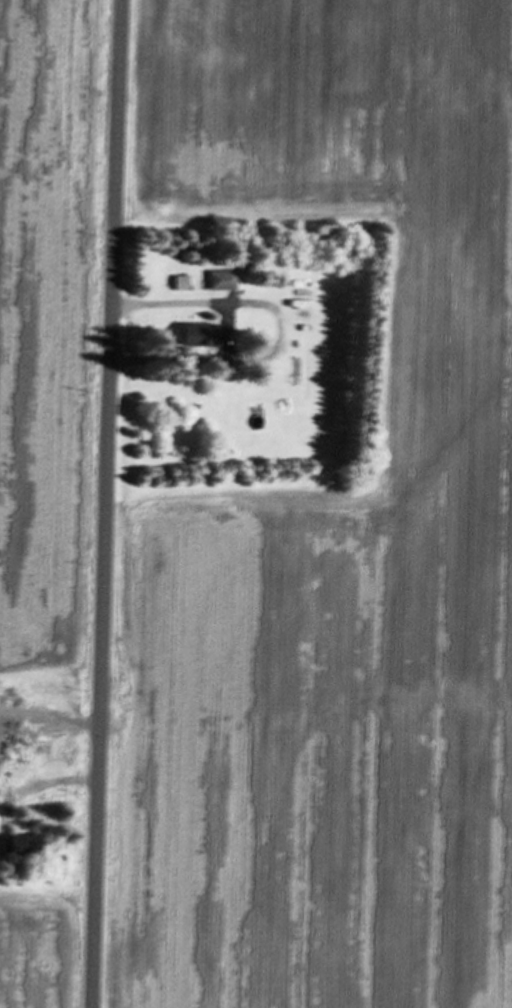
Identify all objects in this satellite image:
building: (221, 280)
road: (165, 305)
building: (202, 335)
road: (106, 504)
building: (33, 844)

